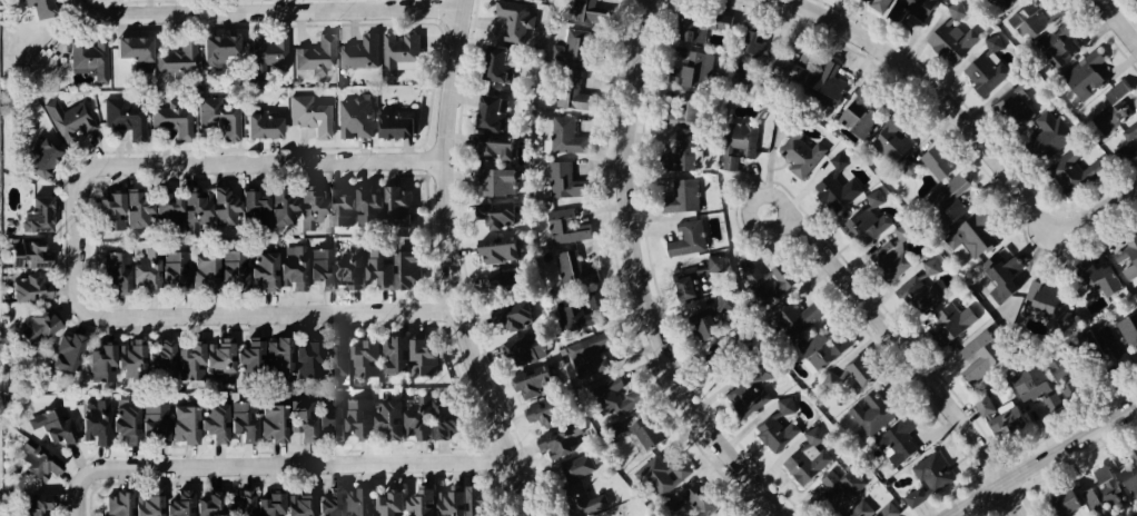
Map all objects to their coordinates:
building: (879, 3)
building: (999, 3)
building: (33, 7)
building: (919, 8)
road: (276, 10)
building: (958, 10)
building: (589, 11)
building: (515, 18)
road: (1120, 18)
building: (1031, 19)
building: (692, 27)
building: (952, 36)
building: (741, 41)
building: (992, 42)
building: (1055, 47)
building: (579, 49)
building: (217, 50)
building: (130, 51)
building: (263, 52)
building: (359, 52)
building: (398, 52)
building: (176, 56)
building: (312, 56)
building: (752, 56)
building: (88, 57)
building: (495, 64)
building: (788, 64)
building: (691, 69)
building: (982, 76)
building: (1082, 79)
building: (823, 80)
building: (568, 91)
building: (1014, 103)
building: (1109, 110)
building: (681, 111)
building: (487, 112)
building: (122, 113)
building: (856, 113)
building: (308, 115)
building: (218, 116)
building: (355, 117)
building: (66, 119)
building: (170, 121)
road: (971, 122)
building: (257, 123)
building: (390, 123)
building: (1130, 132)
building: (1048, 133)
building: (570, 138)
building: (890, 139)
building: (736, 145)
building: (491, 146)
building: (1130, 146)
building: (679, 152)
building: (1126, 152)
building: (801, 153)
building: (37, 157)
road: (286, 161)
building: (938, 161)
building: (910, 168)
building: (1069, 172)
building: (493, 181)
building: (565, 181)
building: (837, 187)
building: (680, 198)
building: (218, 204)
building: (364, 205)
building: (395, 205)
building: (335, 206)
building: (131, 207)
building: (248, 207)
building: (277, 208)
building: (305, 208)
building: (948, 208)
building: (161, 209)
building: (103, 210)
building: (189, 210)
building: (34, 214)
building: (492, 214)
building: (867, 221)
building: (567, 227)
road: (767, 229)
building: (978, 237)
building: (679, 239)
building: (495, 248)
building: (24, 251)
building: (1127, 252)
building: (892, 255)
road: (453, 264)
building: (405, 265)
building: (376, 266)
building: (289, 267)
building: (229, 268)
building: (319, 268)
building: (142, 269)
building: (171, 269)
building: (260, 269)
building: (576, 269)
building: (110, 270)
building: (349, 270)
building: (200, 271)
building: (1002, 272)
building: (1092, 276)
road: (645, 278)
building: (501, 282)
building: (764, 282)
building: (685, 284)
building: (23, 287)
building: (920, 288)
building: (1039, 297)
building: (726, 301)
building: (576, 311)
road: (185, 314)
building: (512, 314)
building: (1064, 318)
building: (794, 319)
building: (952, 320)
building: (31, 327)
building: (700, 328)
building: (1129, 330)
building: (523, 346)
building: (1090, 346)
building: (65, 353)
building: (820, 353)
building: (392, 354)
building: (592, 354)
building: (422, 355)
building: (985, 355)
building: (334, 356)
building: (364, 356)
building: (245, 358)
building: (273, 358)
building: (301, 358)
road: (914, 359)
building: (127, 360)
building: (157, 360)
building: (216, 360)
building: (186, 361)
building: (723, 364)
building: (98, 365)
building: (1064, 369)
building: (765, 371)
building: (851, 374)
building: (533, 379)
building: (842, 384)
building: (1032, 387)
building: (614, 398)
building: (744, 400)
building: (787, 406)
building: (546, 409)
building: (867, 413)
building: (442, 415)
building: (415, 416)
building: (328, 417)
building: (357, 417)
building: (999, 417)
building: (298, 418)
building: (387, 418)
building: (92, 419)
building: (240, 419)
building: (208, 421)
building: (268, 421)
building: (52, 423)
building: (122, 423)
building: (150, 423)
building: (179, 424)
building: (775, 430)
building: (634, 435)
building: (560, 439)
building: (899, 441)
building: (33, 458)
road: (1042, 460)
road: (325, 463)
building: (804, 466)
building: (571, 469)
road: (99, 470)
building: (935, 472)
building: (660, 474)
building: (1126, 479)
building: (1105, 494)
building: (834, 497)
building: (912, 497)
building: (575, 498)
building: (1064, 499)
building: (458, 500)
building: (113, 502)
building: (145, 502)
building: (176, 502)
building: (327, 502)
building: (357, 502)
building: (417, 502)
building: (691, 502)
building: (26, 503)
building: (205, 503)
building: (236, 503)
building: (297, 503)
building: (386, 503)
building: (266, 504)
park: (624, 508)
building: (871, 510)
building: (725, 515)

